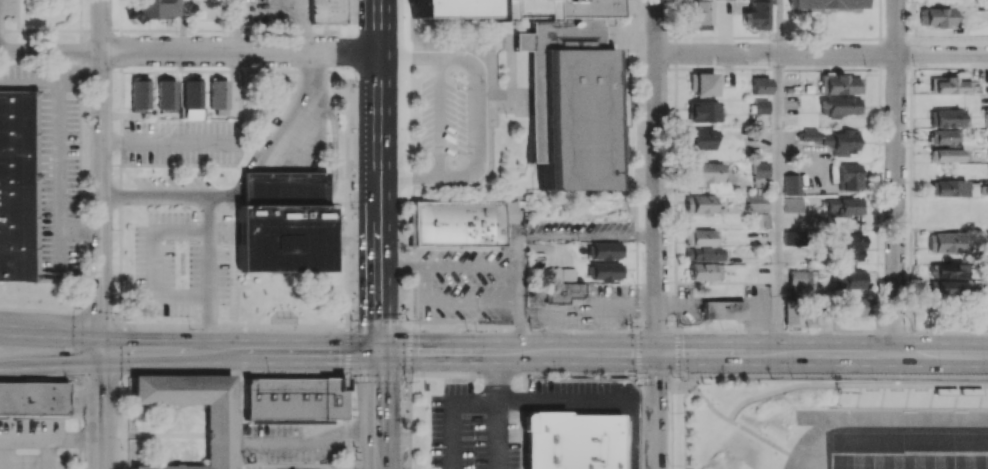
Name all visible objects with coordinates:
building: (826, 4)
building: (155, 9)
building: (327, 11)
building: (756, 14)
building: (700, 15)
building: (938, 17)
road: (238, 26)
road: (777, 27)
road: (614, 37)
road: (638, 37)
road: (189, 51)
road: (822, 55)
road: (409, 59)
road: (51, 76)
building: (554, 82)
building: (703, 84)
building: (839, 84)
building: (760, 85)
building: (949, 85)
building: (140, 92)
building: (166, 94)
building: (218, 96)
building: (192, 98)
road: (306, 98)
road: (620, 102)
building: (839, 105)
building: (760, 106)
building: (703, 111)
road: (441, 118)
building: (950, 118)
parking lot: (449, 119)
road: (478, 119)
building: (986, 119)
building: (943, 137)
building: (832, 139)
road: (166, 142)
building: (948, 155)
road: (58, 160)
building: (760, 169)
building: (707, 172)
road: (102, 174)
road: (378, 176)
building: (849, 176)
road: (657, 177)
road: (409, 178)
road: (895, 178)
building: (791, 184)
building: (18, 185)
road: (632, 185)
building: (948, 188)
building: (755, 203)
building: (700, 204)
building: (793, 204)
road: (778, 205)
building: (845, 206)
road: (209, 219)
building: (284, 222)
building: (459, 223)
road: (81, 231)
road: (589, 236)
building: (789, 237)
building: (944, 242)
building: (702, 245)
building: (850, 246)
building: (606, 250)
road: (450, 267)
building: (945, 270)
building: (606, 271)
building: (705, 271)
road: (522, 278)
building: (798, 281)
building: (853, 281)
building: (562, 284)
building: (947, 289)
building: (849, 306)
building: (723, 309)
road: (60, 310)
building: (792, 312)
building: (982, 314)
road: (51, 334)
traffic signals: (101, 349)
traffic signals: (379, 353)
road: (544, 354)
traffic signals: (657, 354)
road: (52, 365)
road: (498, 378)
road: (50, 379)
building: (913, 393)
building: (33, 397)
building: (294, 398)
road: (563, 403)
road: (101, 409)
road: (235, 410)
road: (379, 411)
road: (657, 411)
road: (452, 412)
parking lot: (501, 419)
track: (877, 420)
road: (499, 436)
road: (627, 436)
road: (38, 437)
building: (214, 437)
building: (570, 442)
road: (307, 443)
road: (46, 453)
park: (909, 460)

